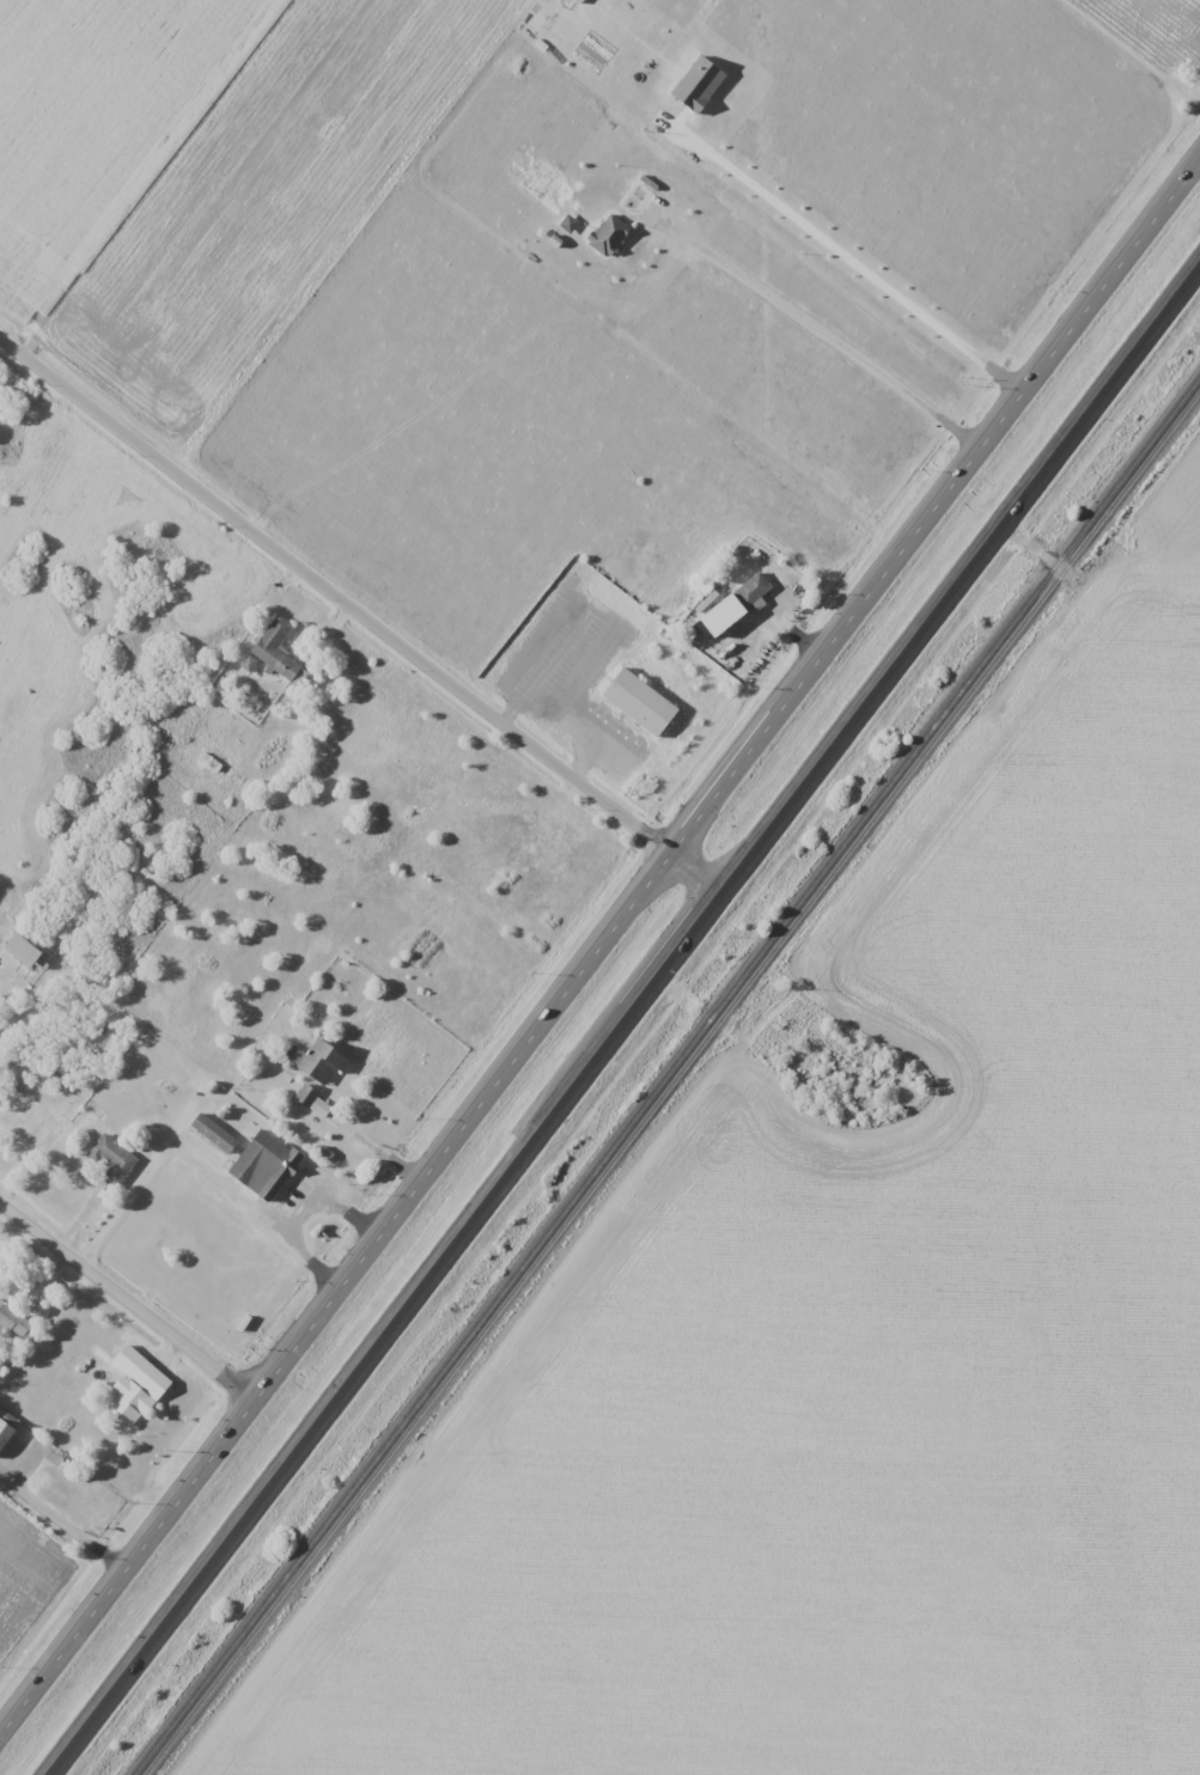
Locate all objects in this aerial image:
building: (610, 236)
building: (737, 606)
road: (360, 617)
building: (278, 651)
road: (601, 952)
road: (627, 1021)
building: (321, 1059)
railway: (665, 1074)
railway: (671, 1082)
building: (307, 1096)
building: (28, 1114)
building: (214, 1133)
building: (111, 1159)
building: (266, 1164)
road: (129, 1301)
building: (130, 1386)
building: (14, 1431)

